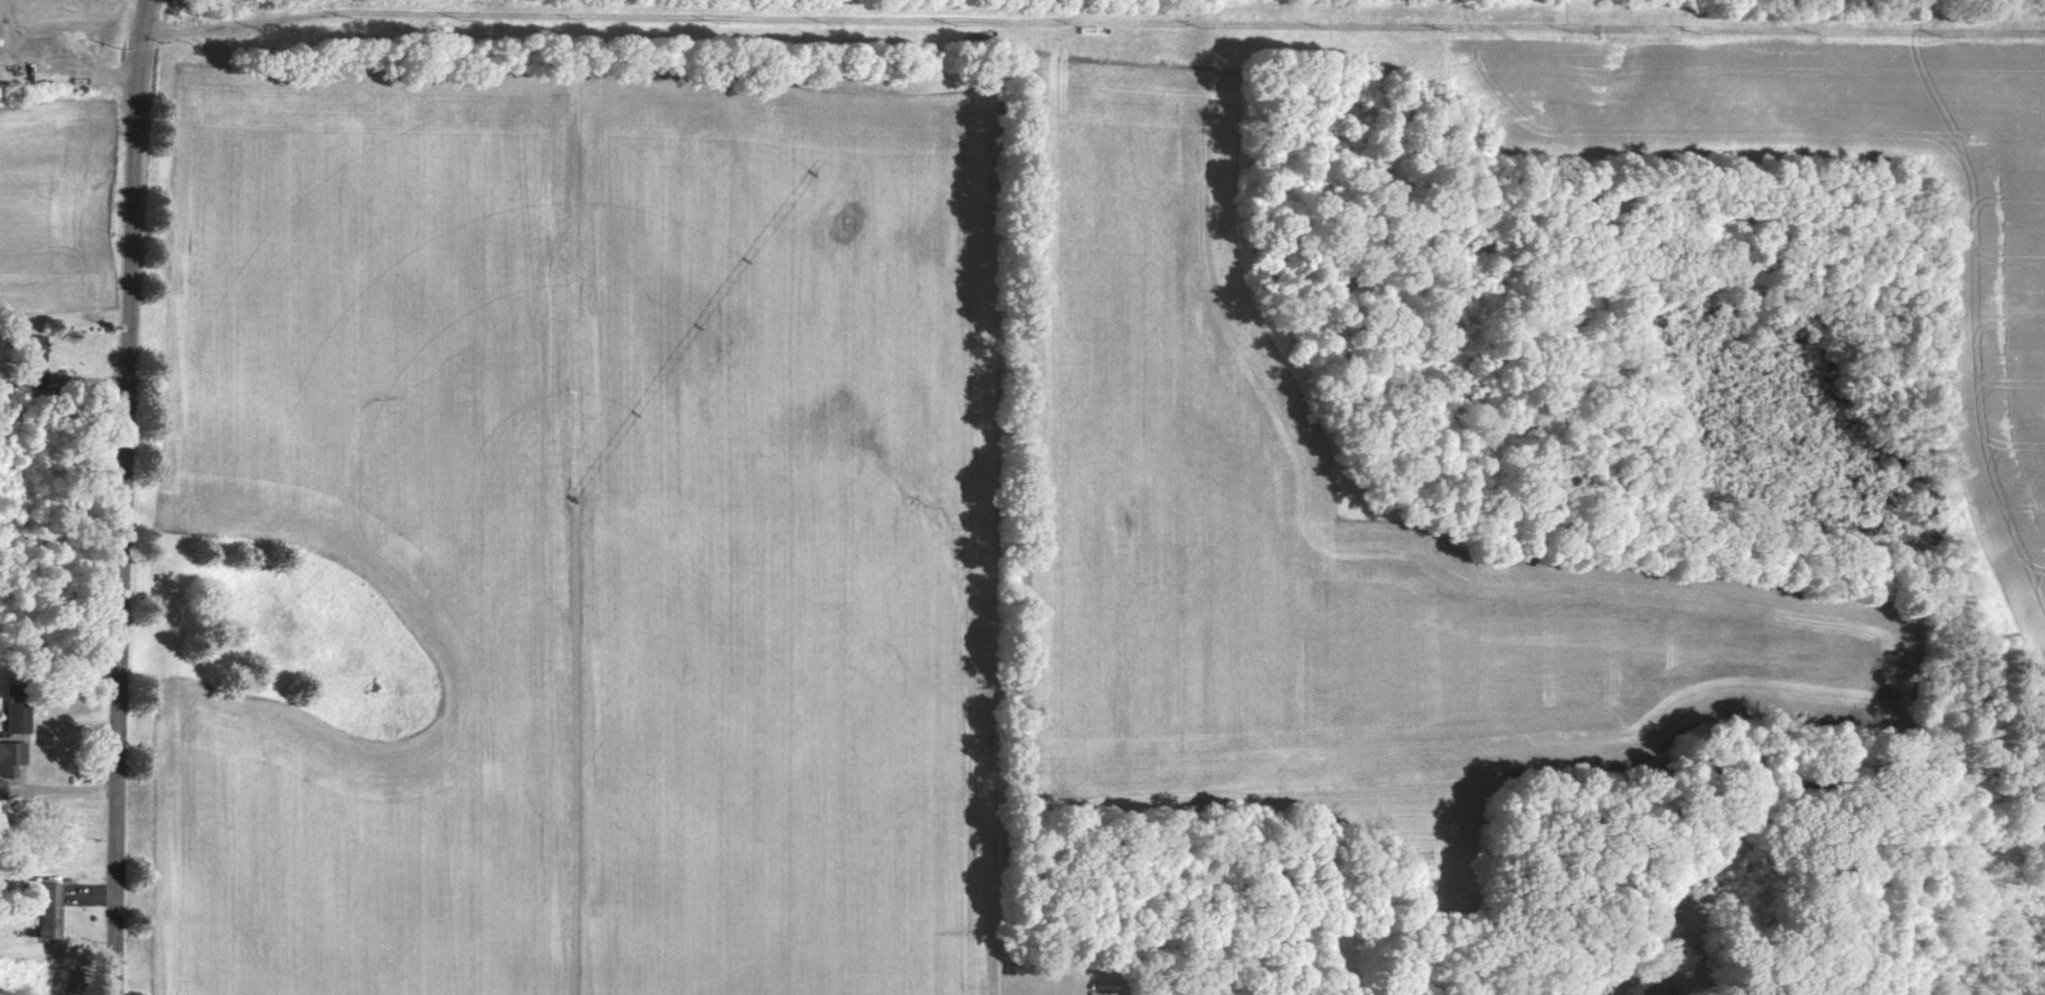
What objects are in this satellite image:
road: (118, 496)
building: (18, 712)
building: (12, 757)
road: (65, 789)
building: (51, 910)

